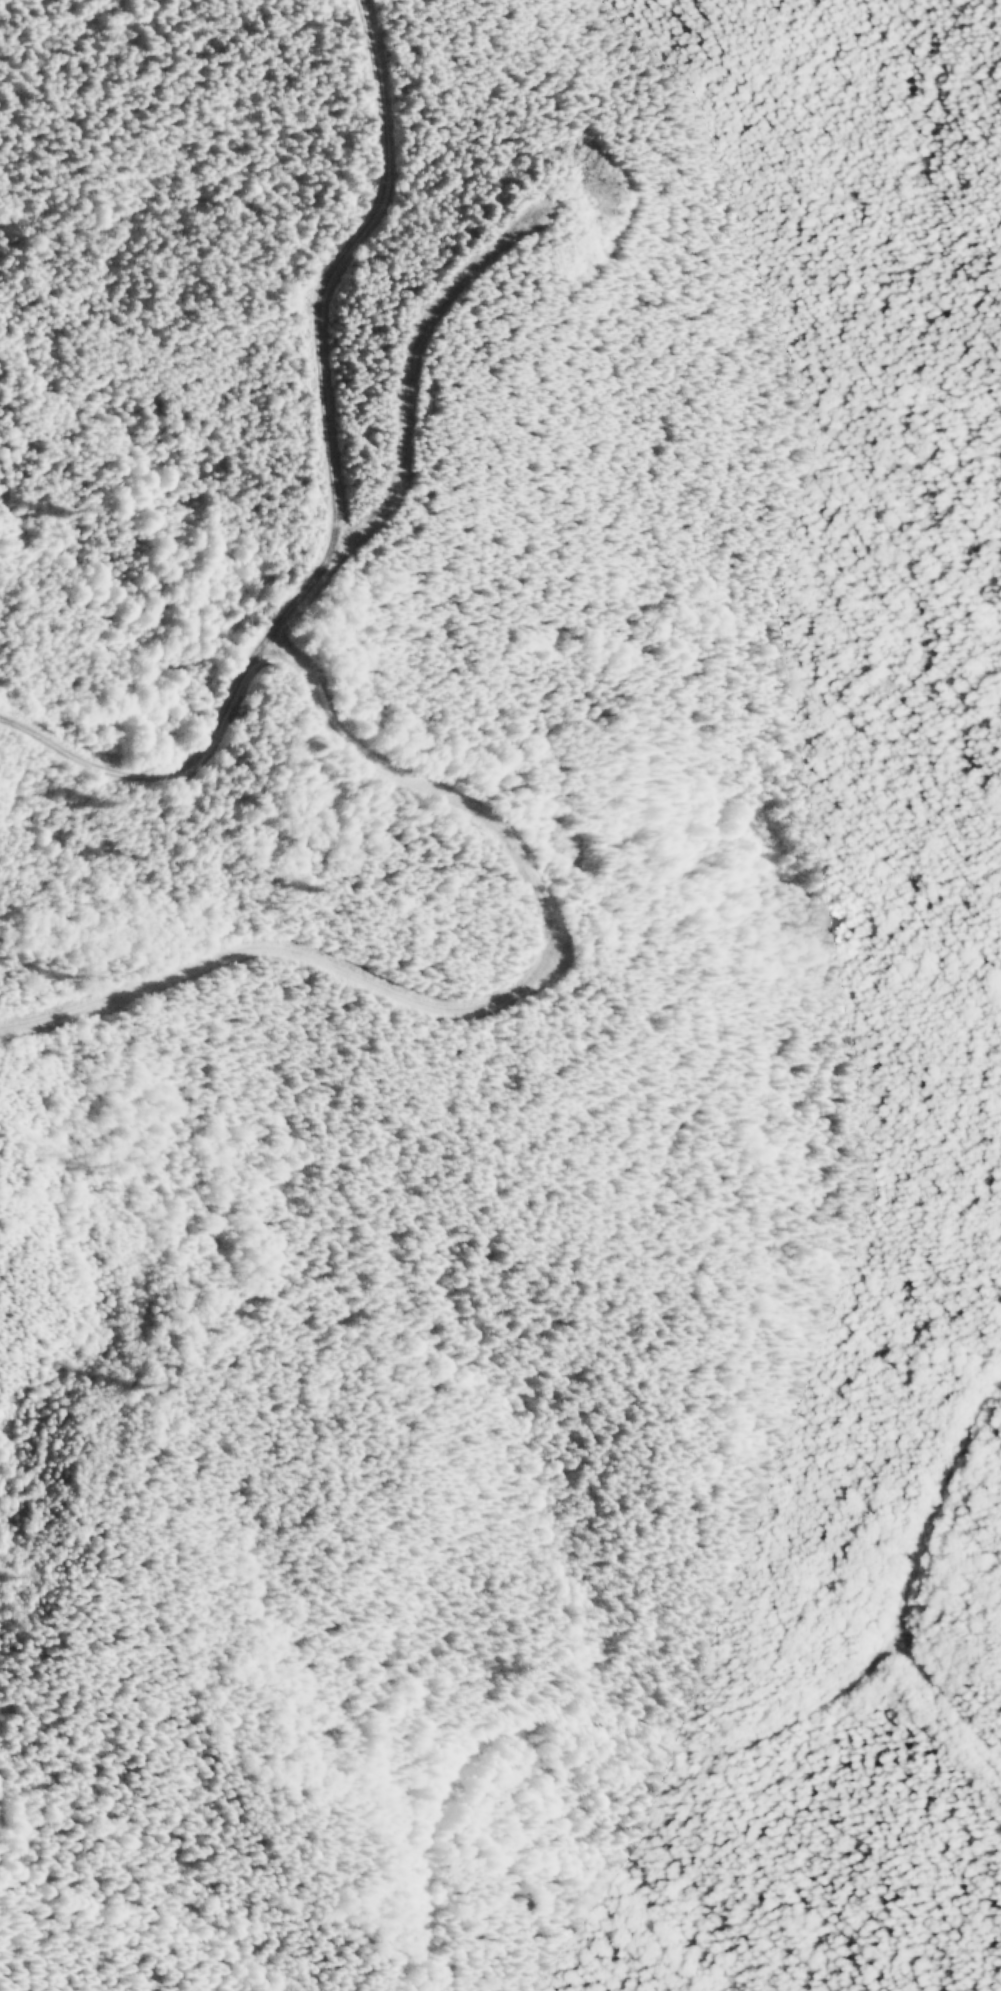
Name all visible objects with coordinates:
road: (333, 494)
road: (823, 1741)

